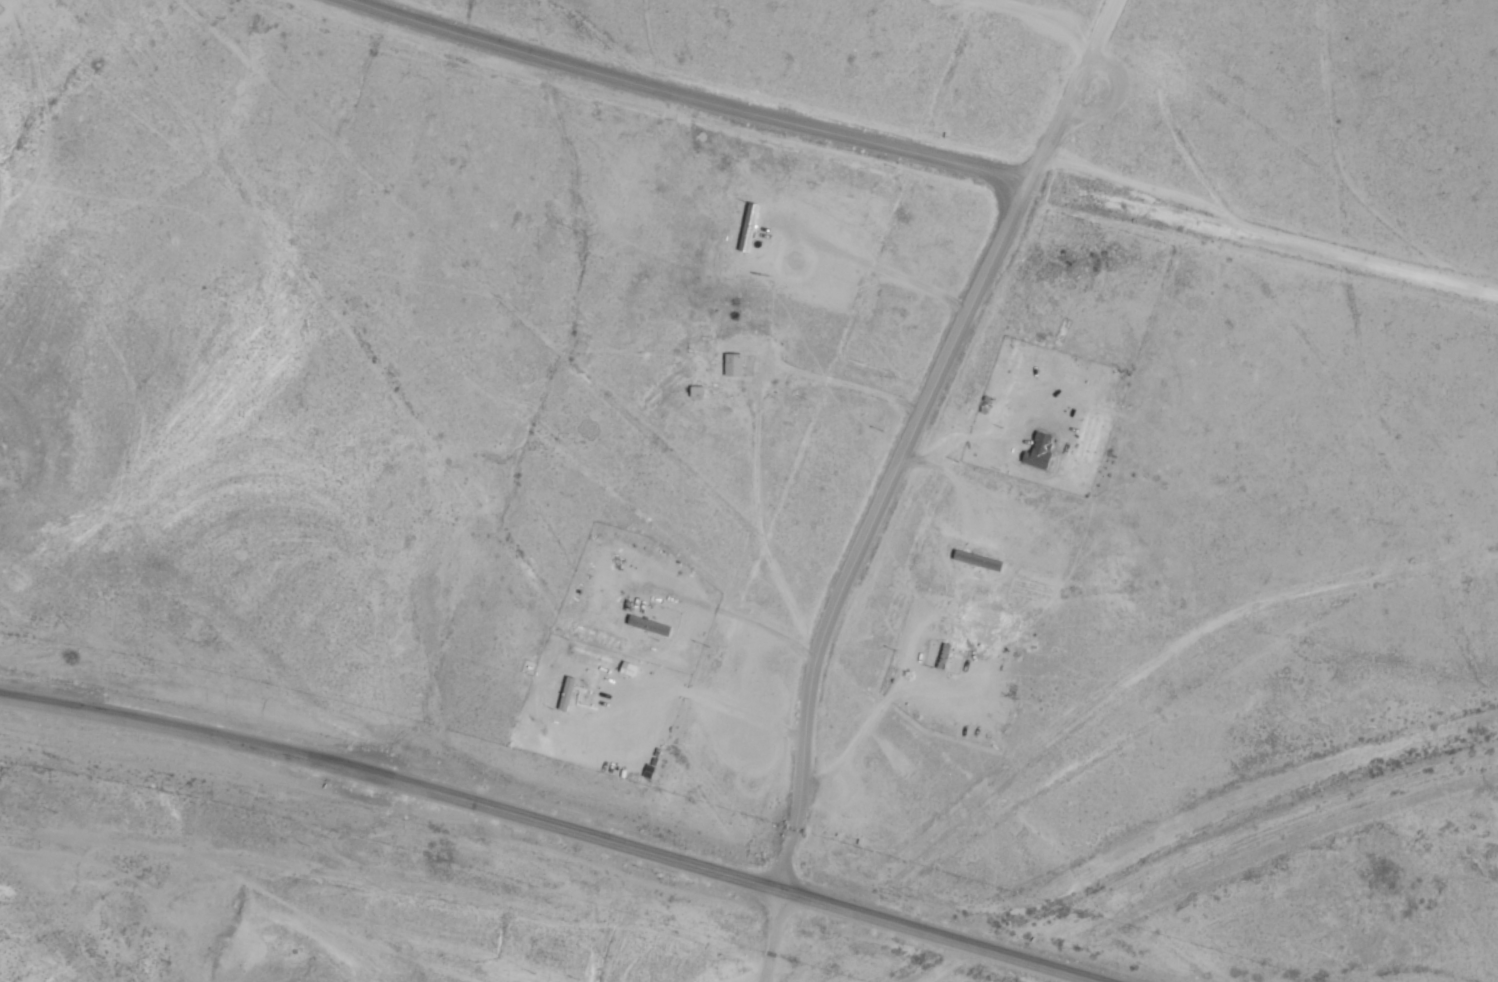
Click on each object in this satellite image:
road: (13, 22)
road: (1075, 90)
road: (693, 98)
building: (748, 227)
road: (1263, 238)
building: (733, 365)
building: (1022, 410)
road: (875, 526)
building: (650, 626)
building: (944, 656)
building: (567, 687)
road: (552, 824)
road: (773, 936)

